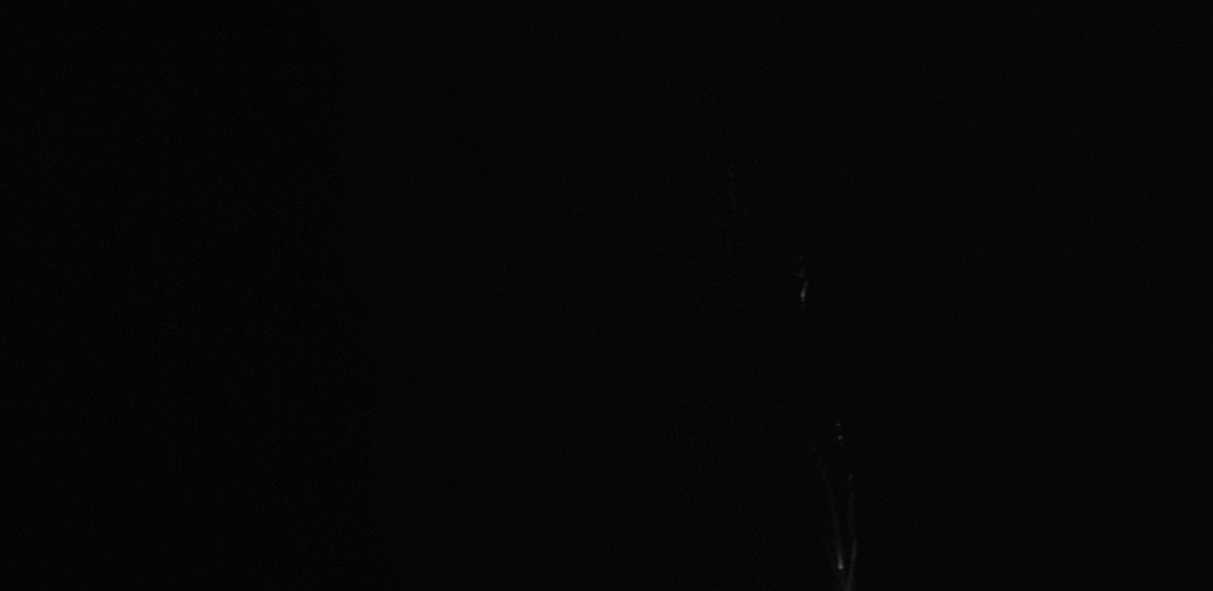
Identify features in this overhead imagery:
river: (1138, 461)

